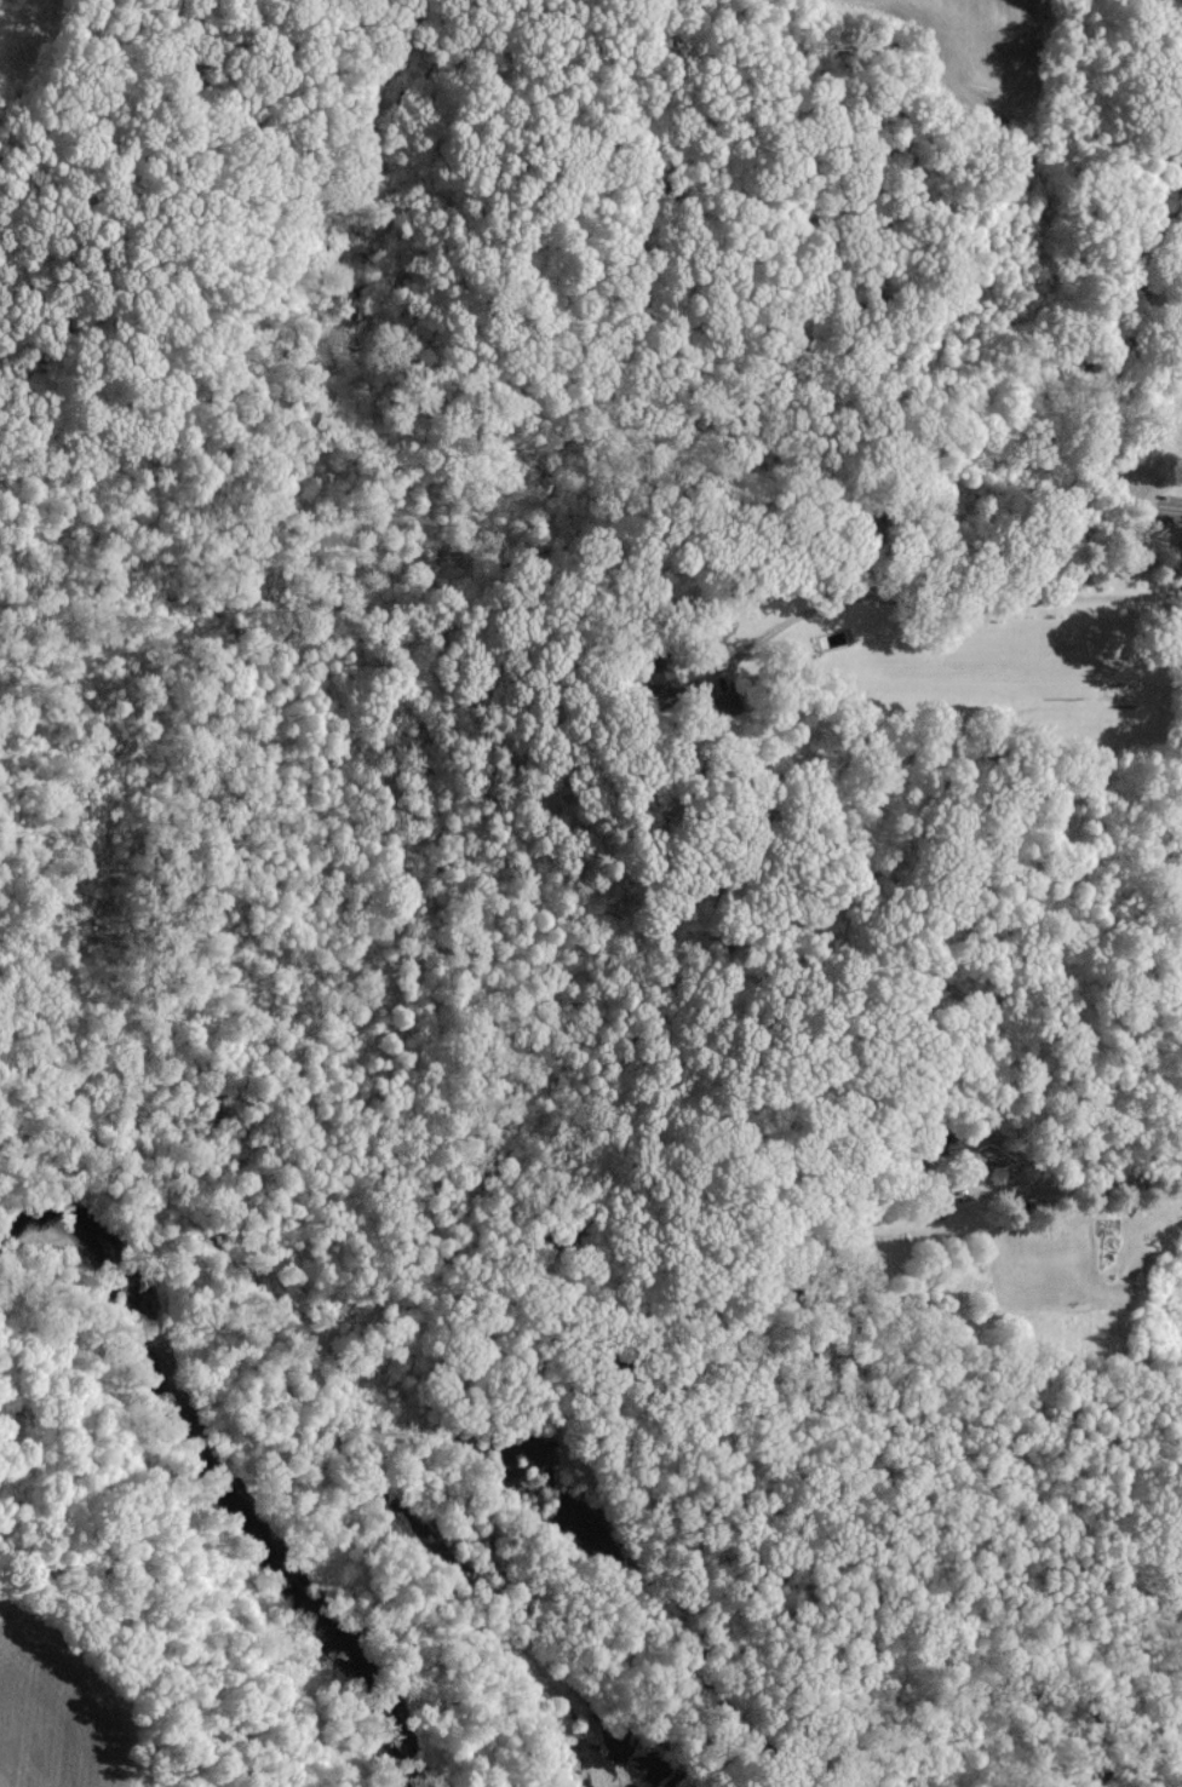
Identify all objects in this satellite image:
road: (928, 597)
building: (727, 705)

